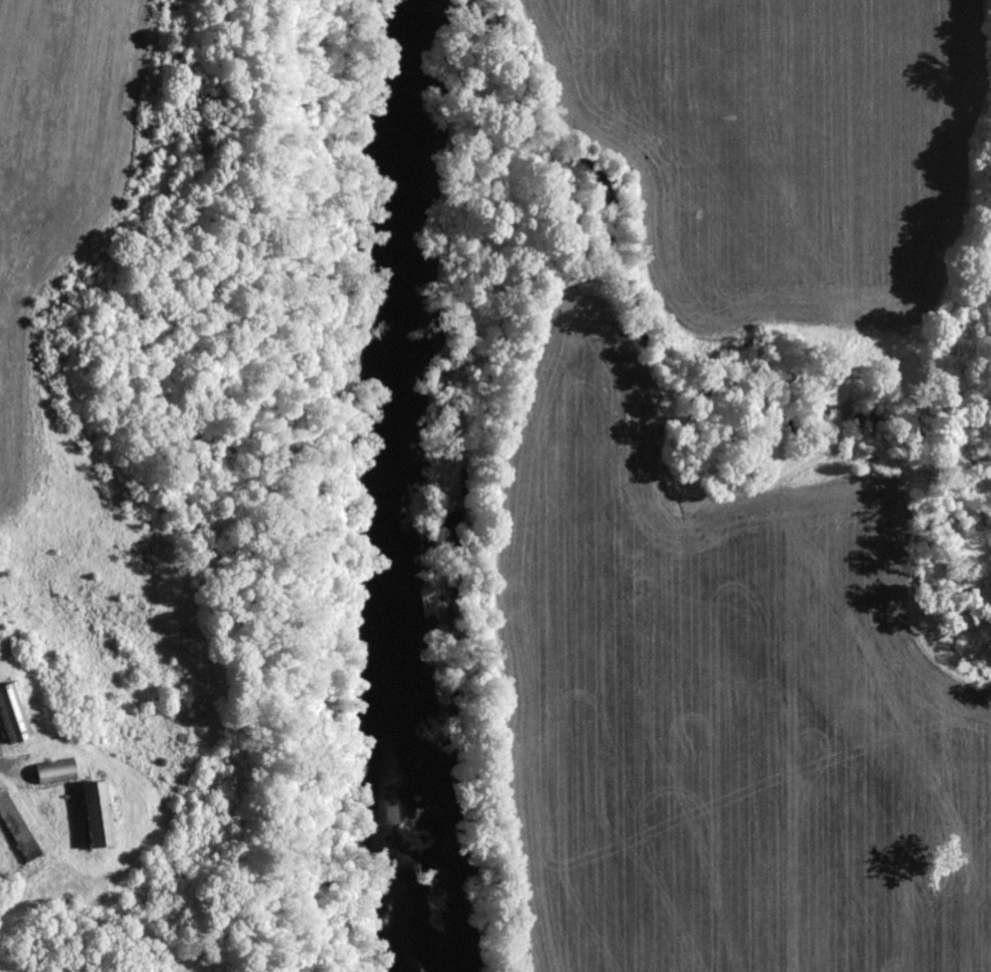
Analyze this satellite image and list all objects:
river: (389, 487)
building: (14, 714)
building: (100, 815)

